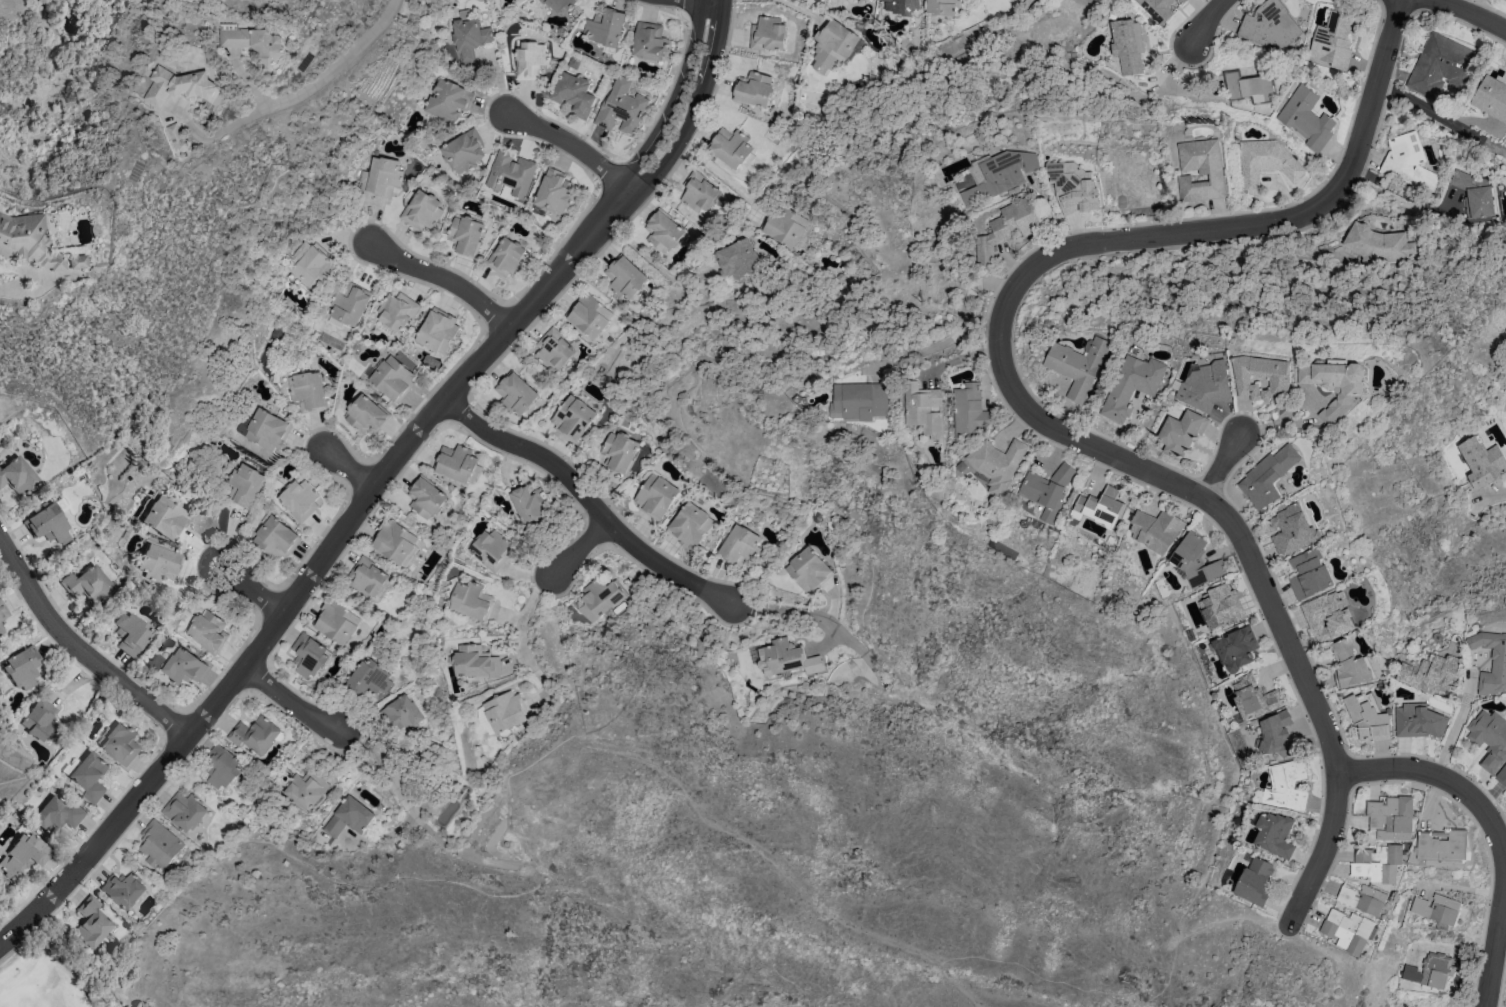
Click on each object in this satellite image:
building: (1183, 1)
building: (558, 4)
building: (901, 6)
building: (942, 7)
road: (795, 8)
building: (1156, 9)
road: (1470, 12)
road: (1203, 21)
building: (1269, 26)
building: (605, 28)
building: (767, 34)
building: (468, 39)
building: (1334, 39)
building: (252, 41)
building: (649, 41)
building: (1127, 45)
building: (834, 46)
building: (530, 60)
building: (1440, 65)
road: (253, 84)
building: (178, 86)
building: (1247, 87)
building: (753, 89)
building: (576, 92)
road: (291, 93)
building: (1490, 98)
building: (446, 100)
building: (621, 111)
building: (1305, 118)
road: (1440, 119)
building: (176, 138)
road: (571, 146)
building: (731, 148)
building: (462, 151)
building: (1406, 162)
building: (1264, 163)
road: (713, 170)
building: (1199, 170)
building: (510, 174)
building: (999, 175)
building: (380, 177)
building: (1073, 191)
building: (553, 192)
building: (699, 193)
building: (1475, 195)
building: (421, 210)
building: (783, 225)
building: (1005, 229)
building: (662, 231)
building: (465, 236)
building: (27, 241)
building: (1376, 244)
building: (507, 258)
road: (648, 260)
building: (735, 260)
building: (77, 261)
building: (311, 265)
building: (624, 277)
road: (442, 279)
road: (7, 287)
building: (286, 304)
building: (348, 306)
building: (397, 311)
building: (589, 315)
building: (438, 330)
building: (275, 334)
building: (553, 350)
building: (1077, 365)
building: (1334, 376)
building: (392, 378)
building: (1278, 381)
building: (1132, 386)
building: (1203, 387)
building: (307, 391)
building: (515, 394)
building: (859, 401)
road: (1020, 404)
building: (922, 409)
building: (969, 413)
building: (366, 415)
building: (572, 419)
building: (265, 430)
building: (1181, 432)
building: (619, 453)
building: (1481, 462)
building: (456, 463)
building: (996, 464)
road: (1221, 464)
road: (348, 471)
building: (17, 476)
building: (1267, 476)
road: (377, 481)
building: (244, 486)
building: (1046, 490)
building: (655, 496)
building: (425, 497)
building: (300, 500)
road: (589, 502)
building: (529, 503)
building: (1100, 507)
building: (165, 517)
building: (48, 525)
building: (689, 525)
building: (1292, 529)
building: (1156, 530)
building: (276, 539)
building: (393, 541)
building: (738, 547)
road: (576, 549)
building: (491, 550)
building: (1195, 561)
building: (159, 563)
building: (808, 570)
building: (1309, 574)
building: (366, 578)
building: (88, 585)
road: (253, 590)
building: (602, 596)
building: (472, 601)
building: (1221, 607)
building: (585, 613)
building: (3, 615)
building: (1327, 616)
building: (336, 623)
building: (208, 632)
building: (132, 633)
road: (522, 635)
building: (1235, 648)
road: (80, 650)
building: (309, 656)
building: (786, 658)
building: (1491, 662)
building: (476, 663)
building: (1349, 665)
building: (24, 667)
building: (183, 667)
building: (1431, 674)
building: (369, 678)
building: (1253, 698)
road: (289, 700)
building: (505, 712)
building: (402, 714)
building: (1366, 718)
building: (41, 720)
building: (1417, 721)
road: (1453, 732)
building: (1276, 734)
building: (254, 735)
building: (1489, 739)
building: (121, 744)
building: (221, 767)
building: (90, 776)
building: (1502, 776)
building: (1284, 786)
building: (304, 789)
road: (400, 796)
building: (184, 811)
building: (58, 815)
building: (1391, 817)
building: (348, 818)
road: (1492, 827)
road: (388, 835)
building: (1274, 835)
building: (158, 845)
building: (1442, 845)
building: (24, 855)
road: (1504, 856)
building: (1377, 863)
building: (1254, 880)
building: (123, 889)
building: (1362, 899)
building: (1437, 910)
building: (92, 923)
building: (1347, 930)
building: (1429, 971)
park: (54, 972)

